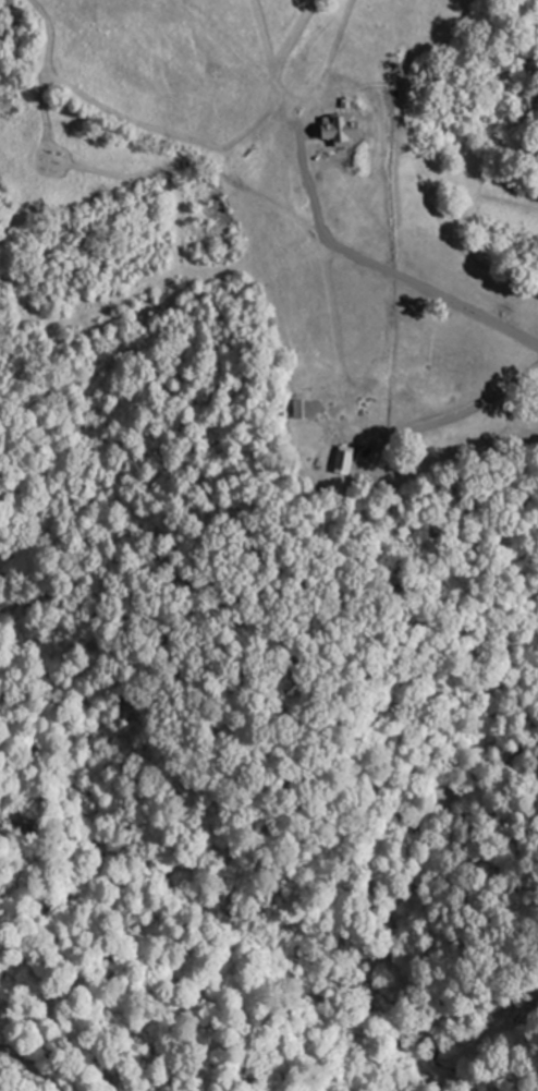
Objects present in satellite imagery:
road: (326, 175)
building: (345, 458)

